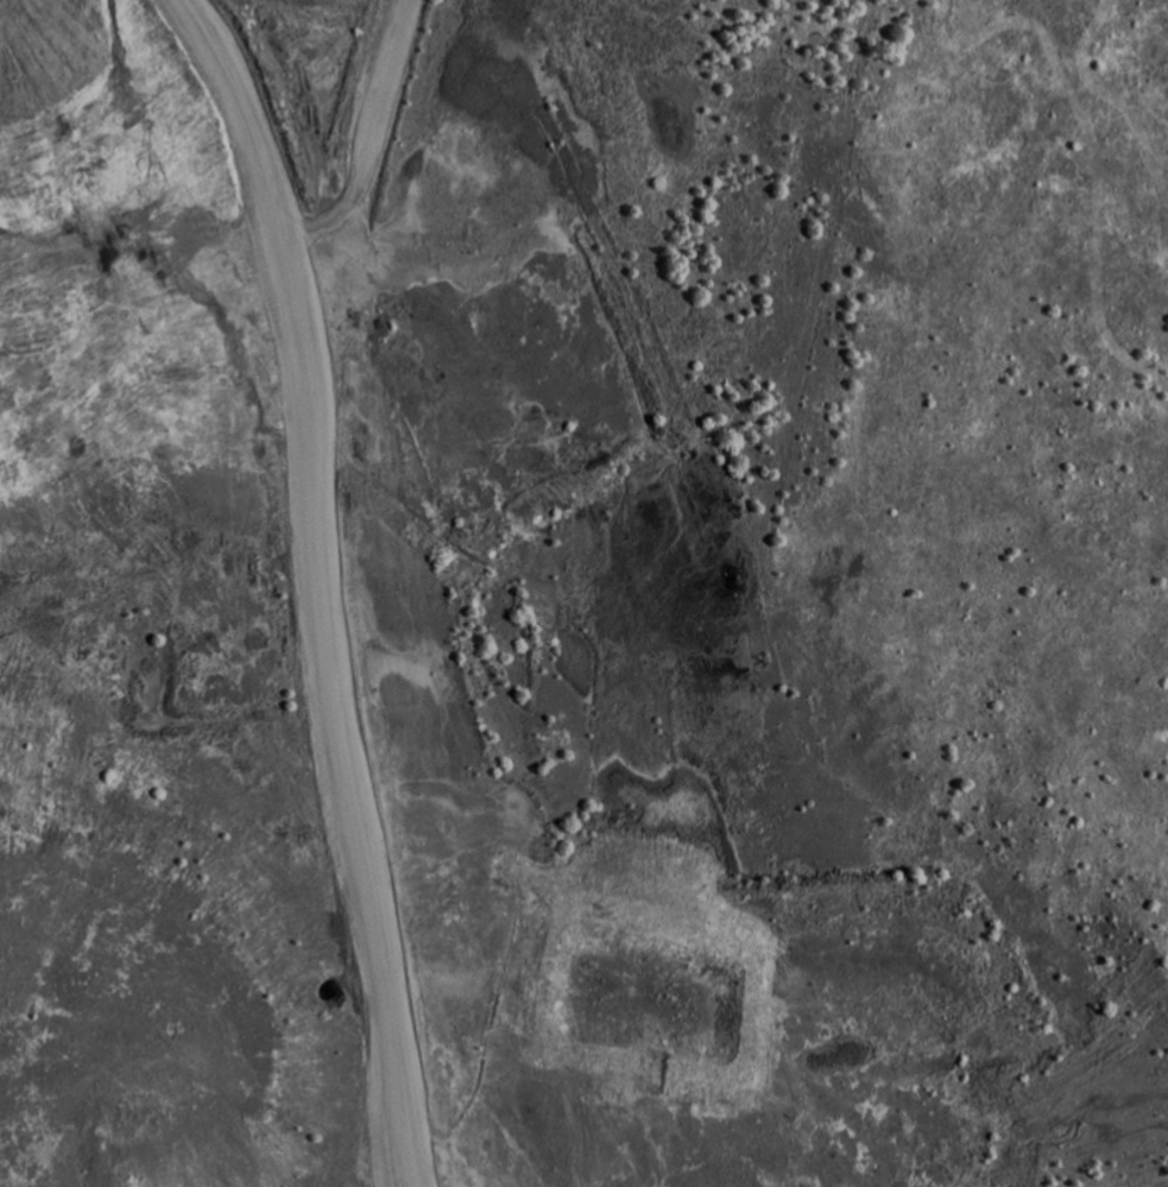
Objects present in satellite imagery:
quarry: (583, 593)

